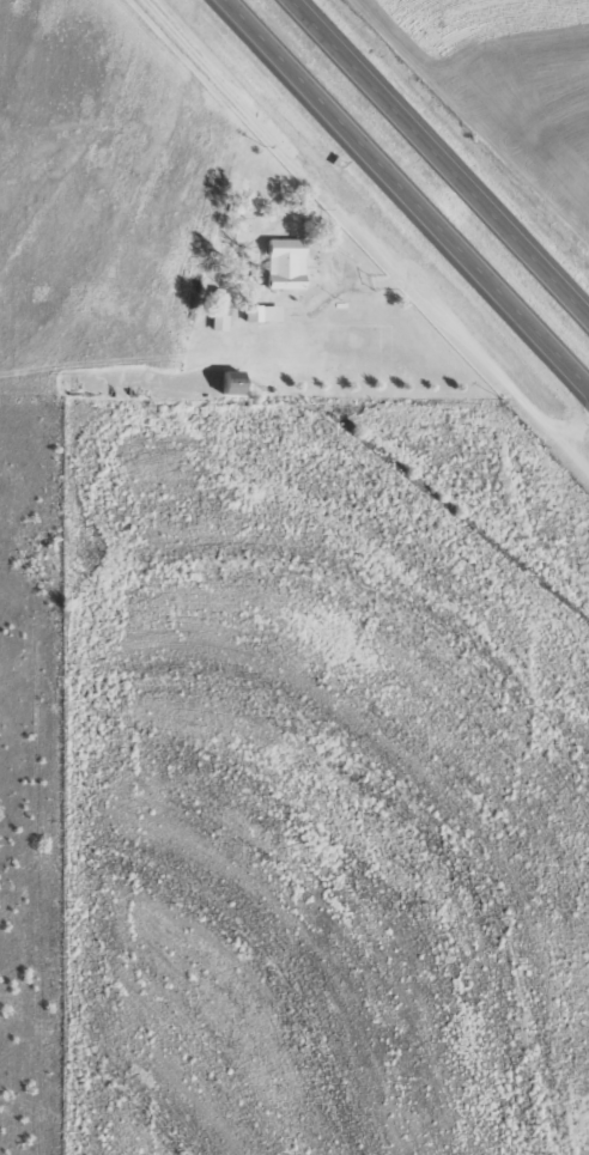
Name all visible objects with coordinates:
road: (441, 158)
road: (406, 194)
road: (376, 231)
building: (292, 265)
building: (224, 310)
building: (267, 312)
road: (576, 424)

